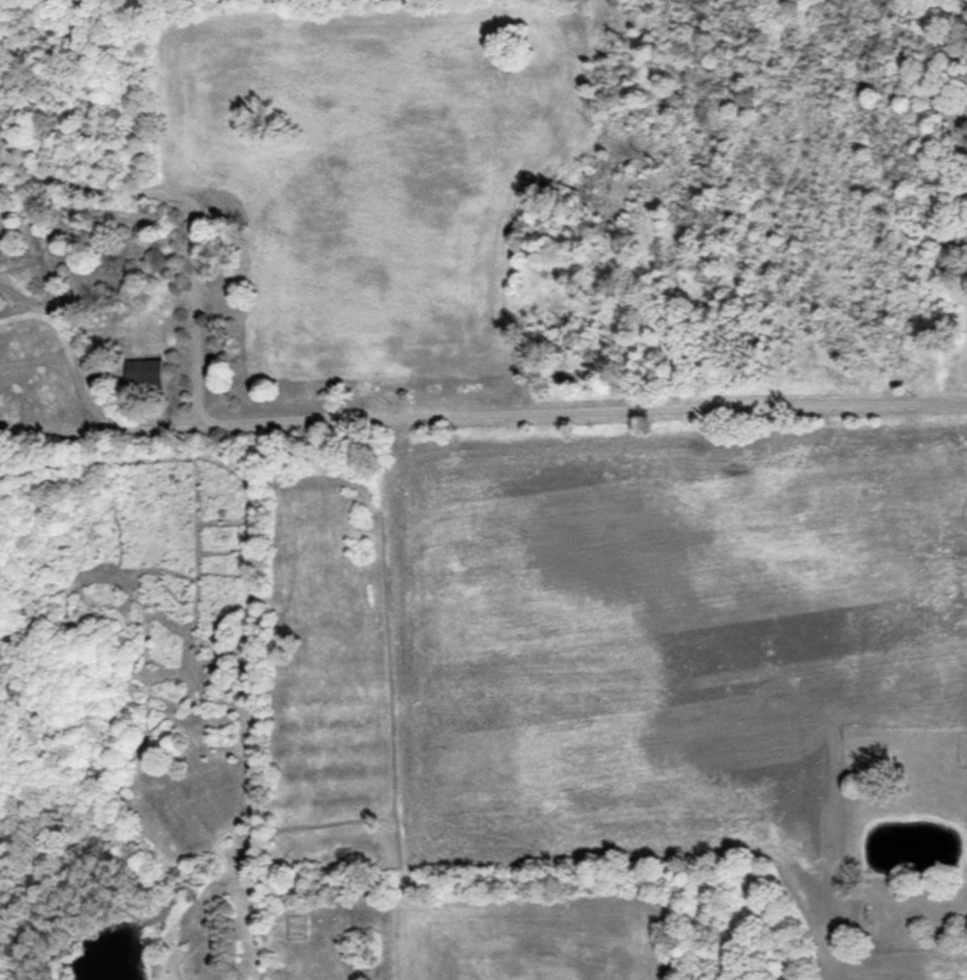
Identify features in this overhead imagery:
road: (194, 210)
road: (19, 296)
road: (18, 315)
building: (143, 373)
road: (92, 412)
road: (585, 420)

